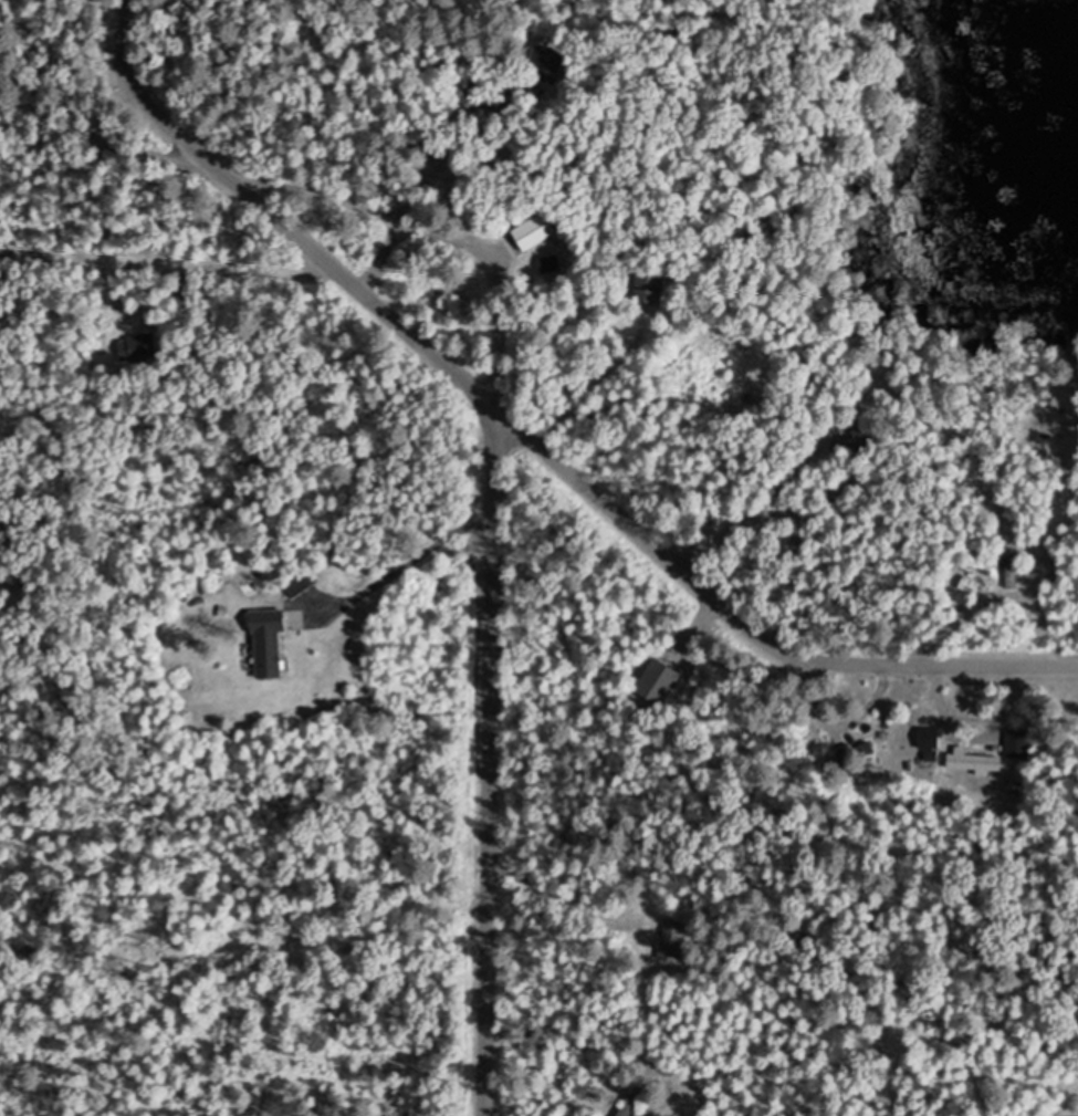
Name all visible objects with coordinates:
road: (142, 91)
road: (102, 137)
building: (139, 346)
road: (412, 557)
building: (1013, 572)
road: (490, 574)
building: (300, 585)
building: (972, 587)
road: (747, 629)
building: (271, 646)
building: (659, 682)
building: (1018, 743)
building: (975, 761)
building: (672, 939)
building: (628, 1109)
building: (1068, 1114)

